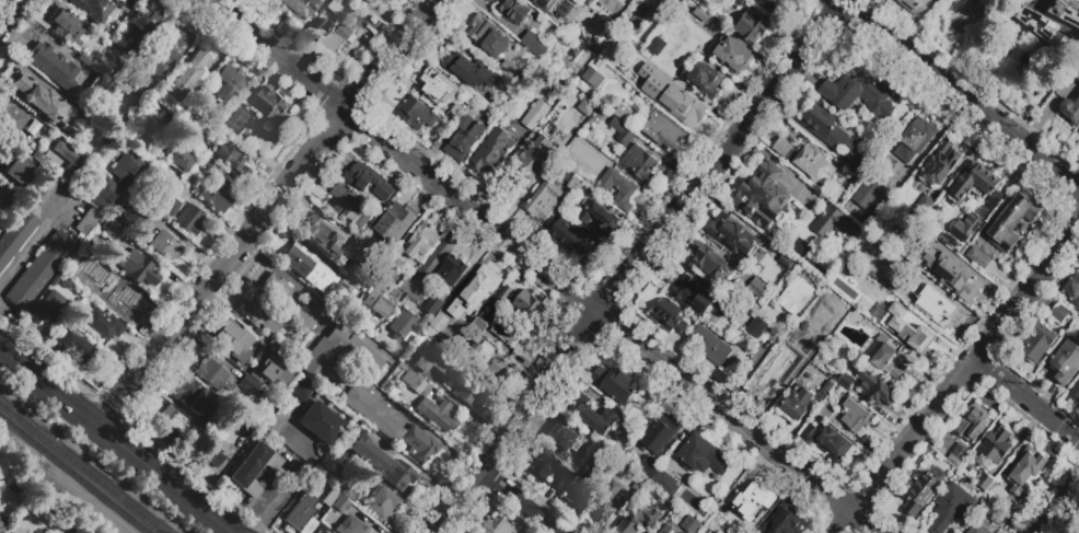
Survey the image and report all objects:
building: (130, 0)
building: (360, 0)
building: (700, 0)
building: (371, 1)
building: (588, 2)
building: (738, 2)
building: (928, 3)
building: (334, 4)
building: (544, 4)
building: (769, 5)
building: (92, 9)
building: (294, 9)
building: (560, 9)
building: (512, 10)
building: (664, 10)
road: (10, 12)
building: (700, 15)
building: (965, 16)
building: (142, 20)
building: (1051, 21)
building: (68, 26)
building: (751, 27)
building: (332, 32)
building: (489, 37)
building: (676, 43)
building: (533, 44)
building: (654, 45)
building: (135, 53)
road: (276, 55)
road: (390, 55)
building: (731, 55)
building: (159, 56)
building: (557, 62)
building: (51, 65)
building: (465, 65)
building: (652, 69)
building: (508, 70)
building: (185, 74)
building: (95, 76)
building: (548, 77)
building: (593, 78)
building: (1077, 78)
building: (703, 80)
building: (227, 81)
building: (438, 86)
building: (24, 89)
building: (860, 93)
building: (477, 94)
road: (959, 95)
building: (587, 106)
building: (272, 107)
building: (682, 107)
building: (1068, 109)
building: (622, 114)
building: (10, 115)
building: (416, 115)
building: (535, 115)
building: (219, 116)
building: (50, 120)
building: (171, 124)
building: (205, 124)
building: (32, 127)
building: (229, 127)
building: (828, 129)
building: (662, 131)
building: (622, 132)
building: (146, 134)
building: (85, 136)
building: (258, 136)
road: (11, 137)
building: (915, 139)
building: (463, 142)
building: (781, 148)
building: (4, 150)
building: (492, 152)
building: (38, 157)
building: (67, 157)
building: (181, 157)
building: (229, 159)
building: (639, 163)
building: (939, 164)
building: (127, 166)
building: (815, 166)
building: (856, 166)
building: (19, 167)
building: (160, 167)
building: (526, 167)
building: (890, 167)
building: (369, 181)
building: (974, 184)
building: (44, 189)
building: (617, 189)
building: (579, 190)
building: (868, 193)
building: (216, 195)
building: (764, 197)
building: (8, 198)
building: (543, 201)
building: (101, 202)
building: (170, 206)
building: (350, 208)
building: (599, 217)
building: (188, 218)
road: (216, 218)
building: (134, 219)
building: (396, 221)
building: (832, 222)
building: (1003, 231)
building: (15, 232)
building: (961, 232)
building: (113, 234)
building: (324, 235)
building: (733, 235)
building: (571, 236)
building: (862, 237)
road: (34, 241)
building: (421, 243)
road: (442, 243)
building: (164, 245)
road: (189, 245)
building: (356, 245)
building: (767, 251)
building: (709, 263)
building: (132, 265)
road: (222, 266)
building: (310, 266)
building: (399, 266)
building: (40, 268)
road: (636, 268)
building: (449, 273)
road: (285, 276)
building: (100, 279)
building: (347, 280)
building: (961, 281)
building: (66, 283)
building: (479, 288)
building: (757, 288)
building: (1072, 291)
building: (277, 292)
building: (692, 296)
building: (794, 296)
building: (384, 299)
building: (503, 301)
building: (929, 303)
building: (432, 306)
building: (48, 309)
building: (129, 309)
building: (530, 310)
building: (304, 315)
building: (734, 315)
building: (1059, 315)
building: (669, 316)
building: (263, 317)
building: (825, 321)
road: (613, 322)
building: (402, 323)
building: (475, 324)
building: (101, 325)
building: (756, 327)
building: (442, 329)
building: (909, 331)
building: (511, 333)
building: (793, 337)
building: (233, 343)
building: (1037, 345)
building: (78, 346)
building: (711, 346)
building: (278, 348)
building: (339, 354)
road: (48, 356)
building: (884, 358)
building: (430, 359)
building: (1067, 362)
building: (267, 368)
building: (474, 371)
building: (213, 374)
building: (829, 378)
building: (768, 379)
road: (959, 379)
building: (844, 381)
building: (616, 384)
building: (300, 385)
building: (827, 387)
building: (251, 389)
building: (875, 389)
building: (1075, 393)
building: (190, 394)
road: (1026, 401)
building: (429, 403)
building: (797, 405)
road: (111, 406)
building: (826, 410)
building: (592, 417)
building: (856, 417)
building: (320, 421)
building: (387, 422)
building: (241, 424)
building: (973, 424)
building: (170, 426)
road: (422, 428)
building: (247, 430)
building: (201, 432)
building: (635, 432)
building: (660, 433)
road: (117, 437)
building: (562, 441)
building: (826, 443)
building: (996, 443)
building: (216, 452)
building: (704, 456)
building: (953, 461)
building: (382, 463)
building: (577, 466)
building: (649, 466)
railway: (82, 467)
building: (253, 467)
building: (629, 468)
building: (545, 470)
building: (1023, 471)
railway: (73, 474)
road: (198, 474)
building: (4, 479)
building: (664, 482)
building: (985, 482)
building: (639, 485)
building: (346, 487)
building: (581, 487)
building: (920, 494)
building: (327, 497)
road: (520, 499)
road: (272, 500)
building: (384, 501)
building: (605, 502)
building: (747, 502)
building: (341, 507)
road: (1061, 507)
building: (951, 508)
building: (300, 511)
building: (320, 515)
building: (997, 517)
building: (638, 519)
building: (784, 520)
building: (326, 521)
building: (689, 524)
building: (350, 525)
building: (495, 525)
building: (2, 526)
building: (68, 529)
building: (669, 529)
building: (976, 529)
building: (320, 530)
building: (473, 532)
building: (730, 532)

